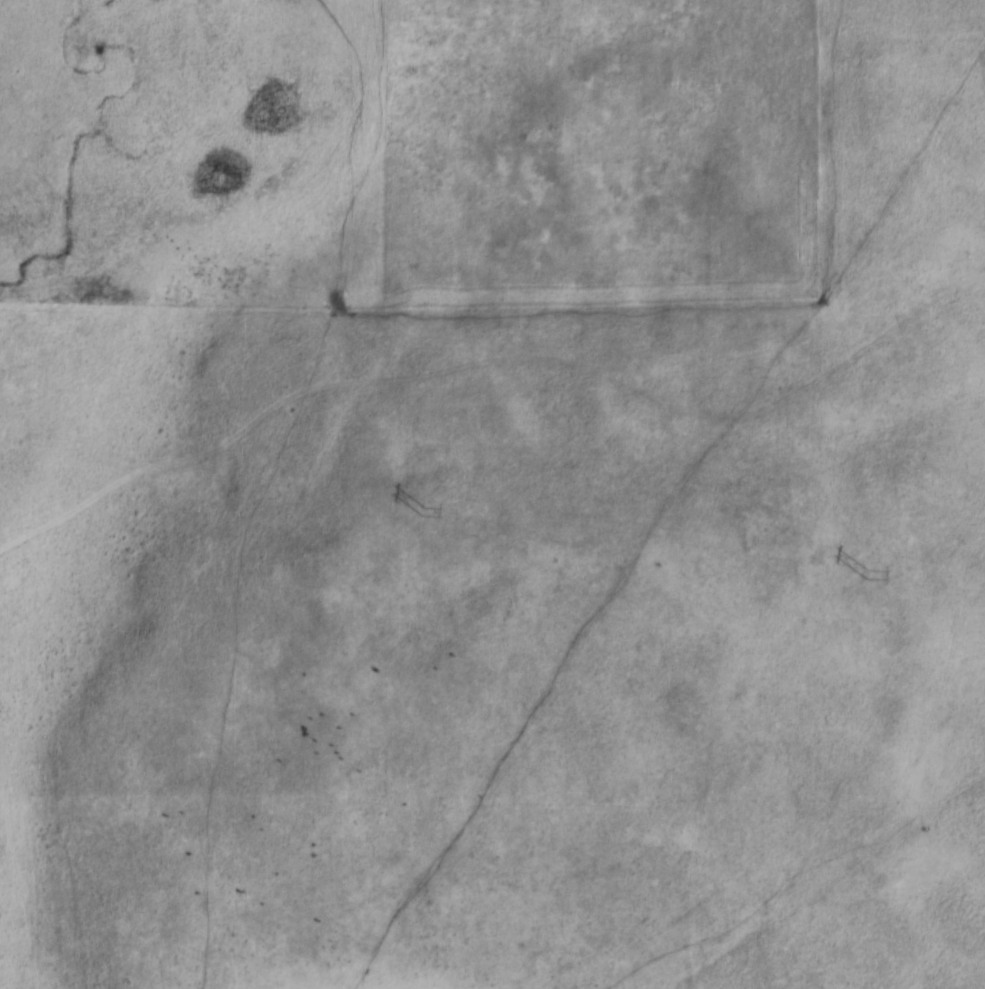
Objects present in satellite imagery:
power tower: (419, 512)
power tower: (862, 574)

